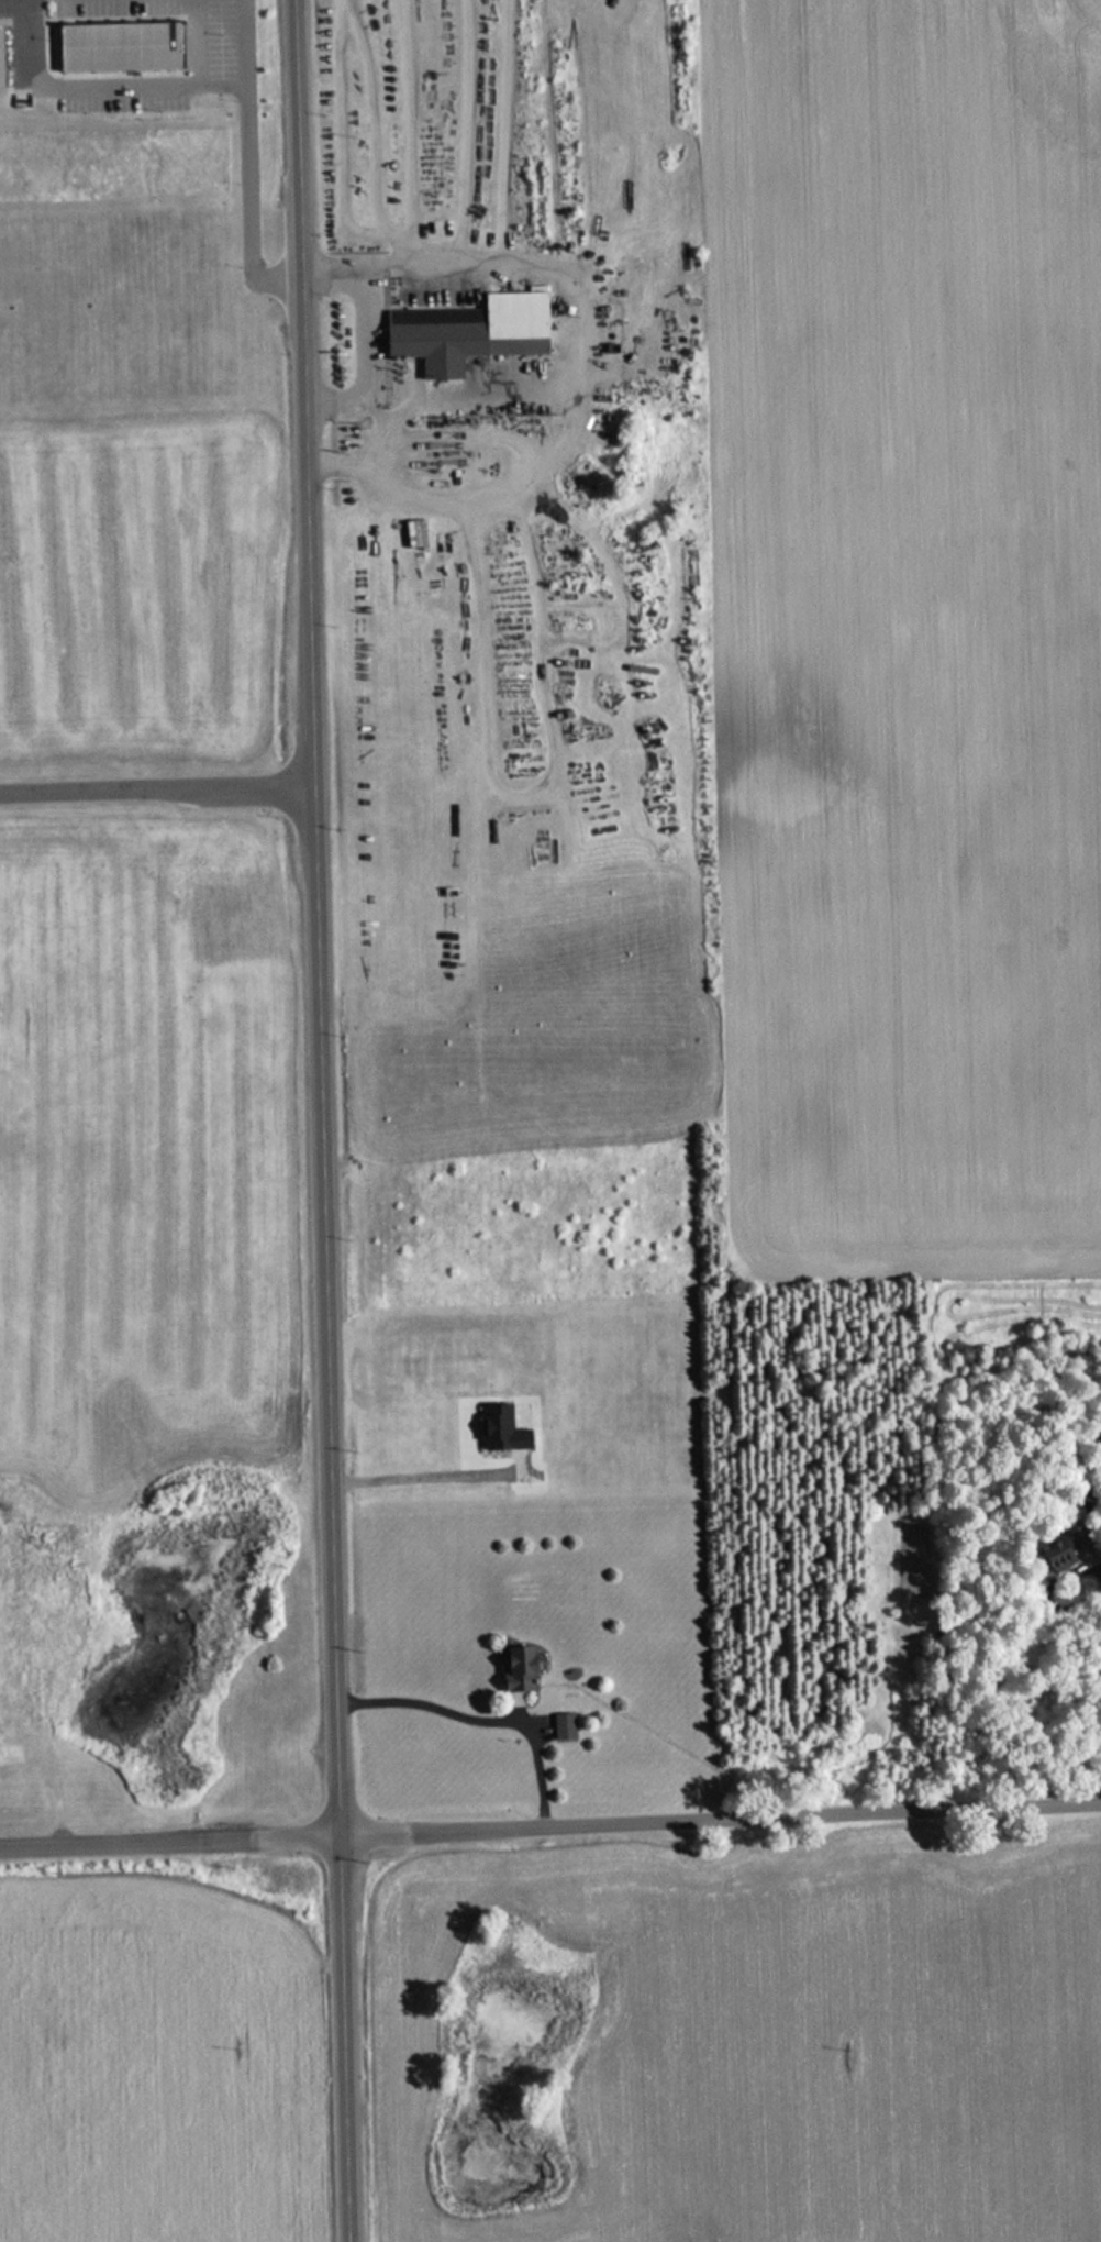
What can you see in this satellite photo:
building: (119, 45)
building: (0, 69)
building: (468, 331)
building: (414, 534)
road: (155, 785)
road: (320, 1120)
building: (1067, 1547)
building: (516, 1666)
building: (563, 1725)
road: (550, 1823)

